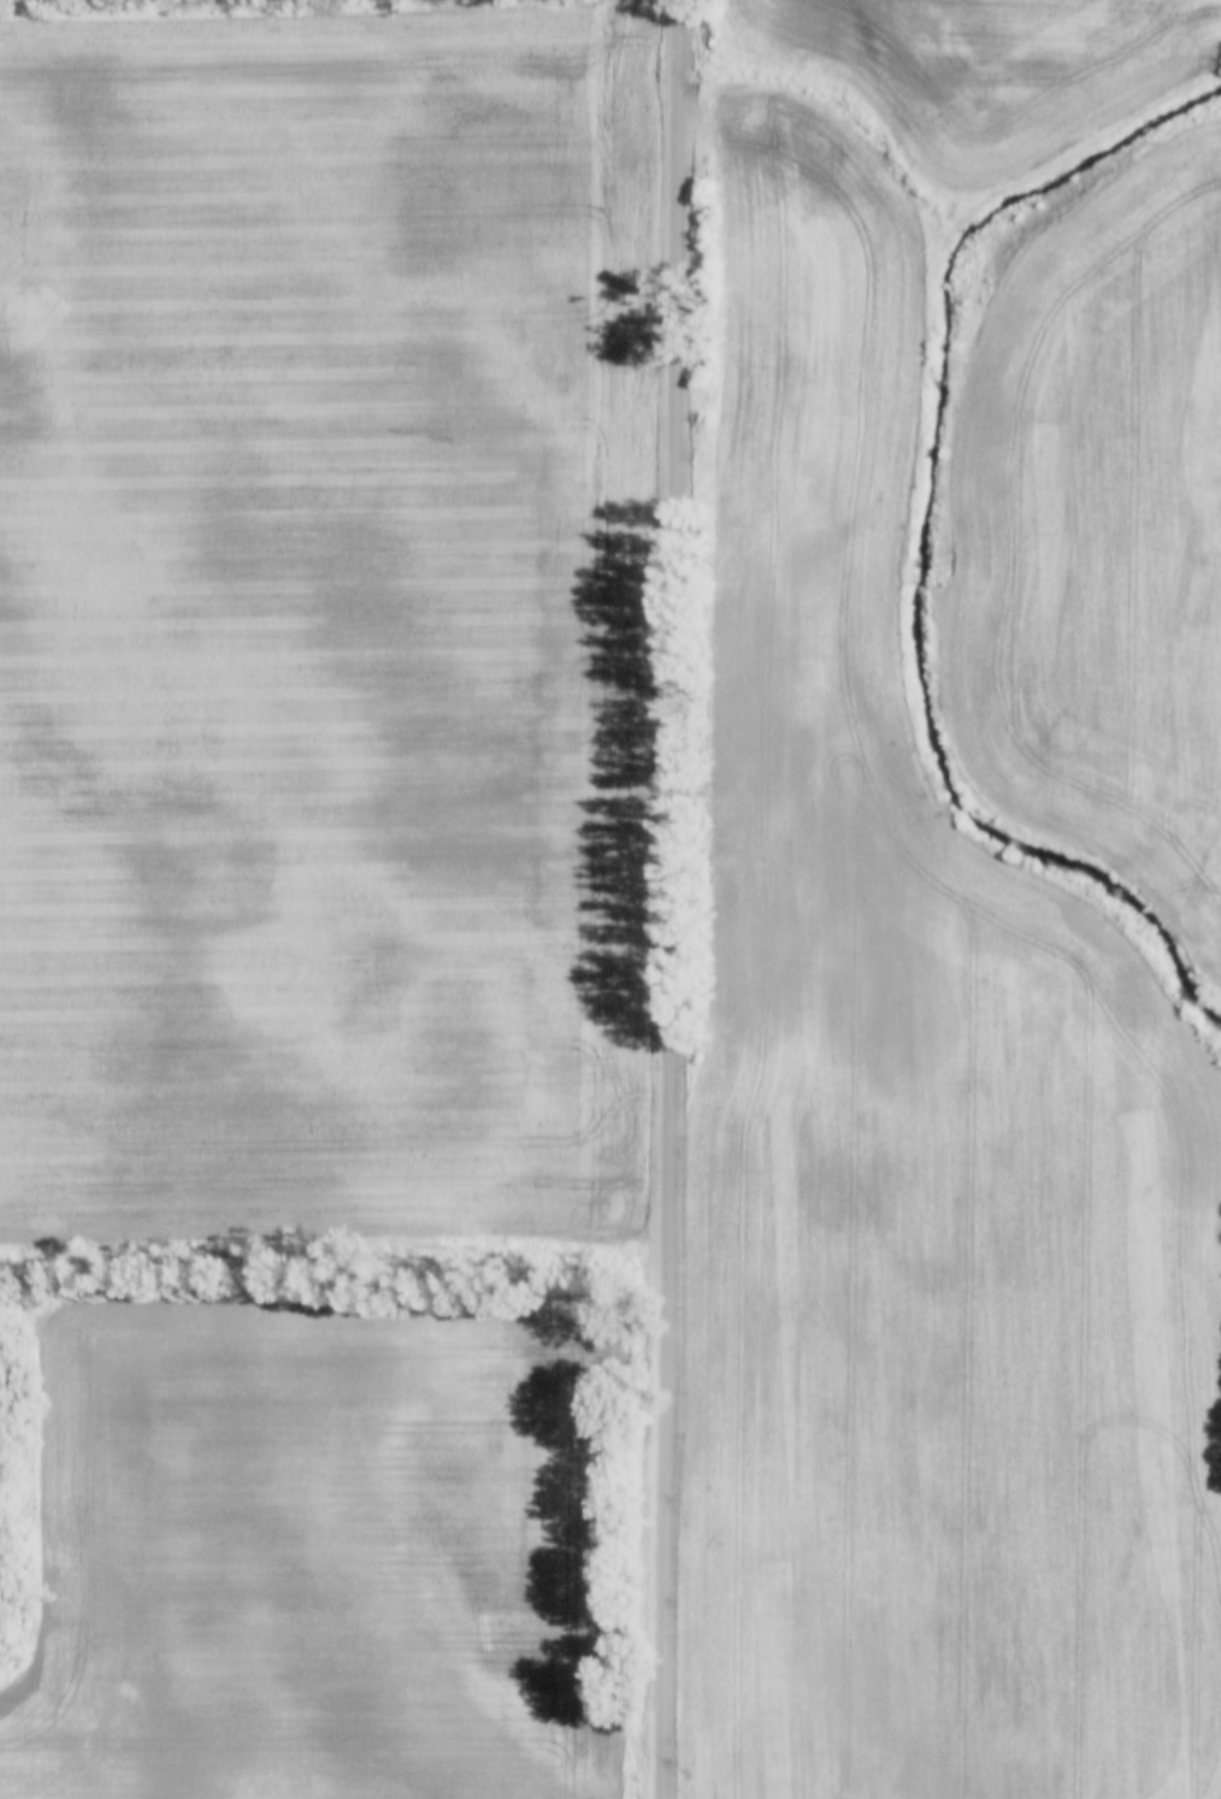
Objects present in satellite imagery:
road: (670, 898)

